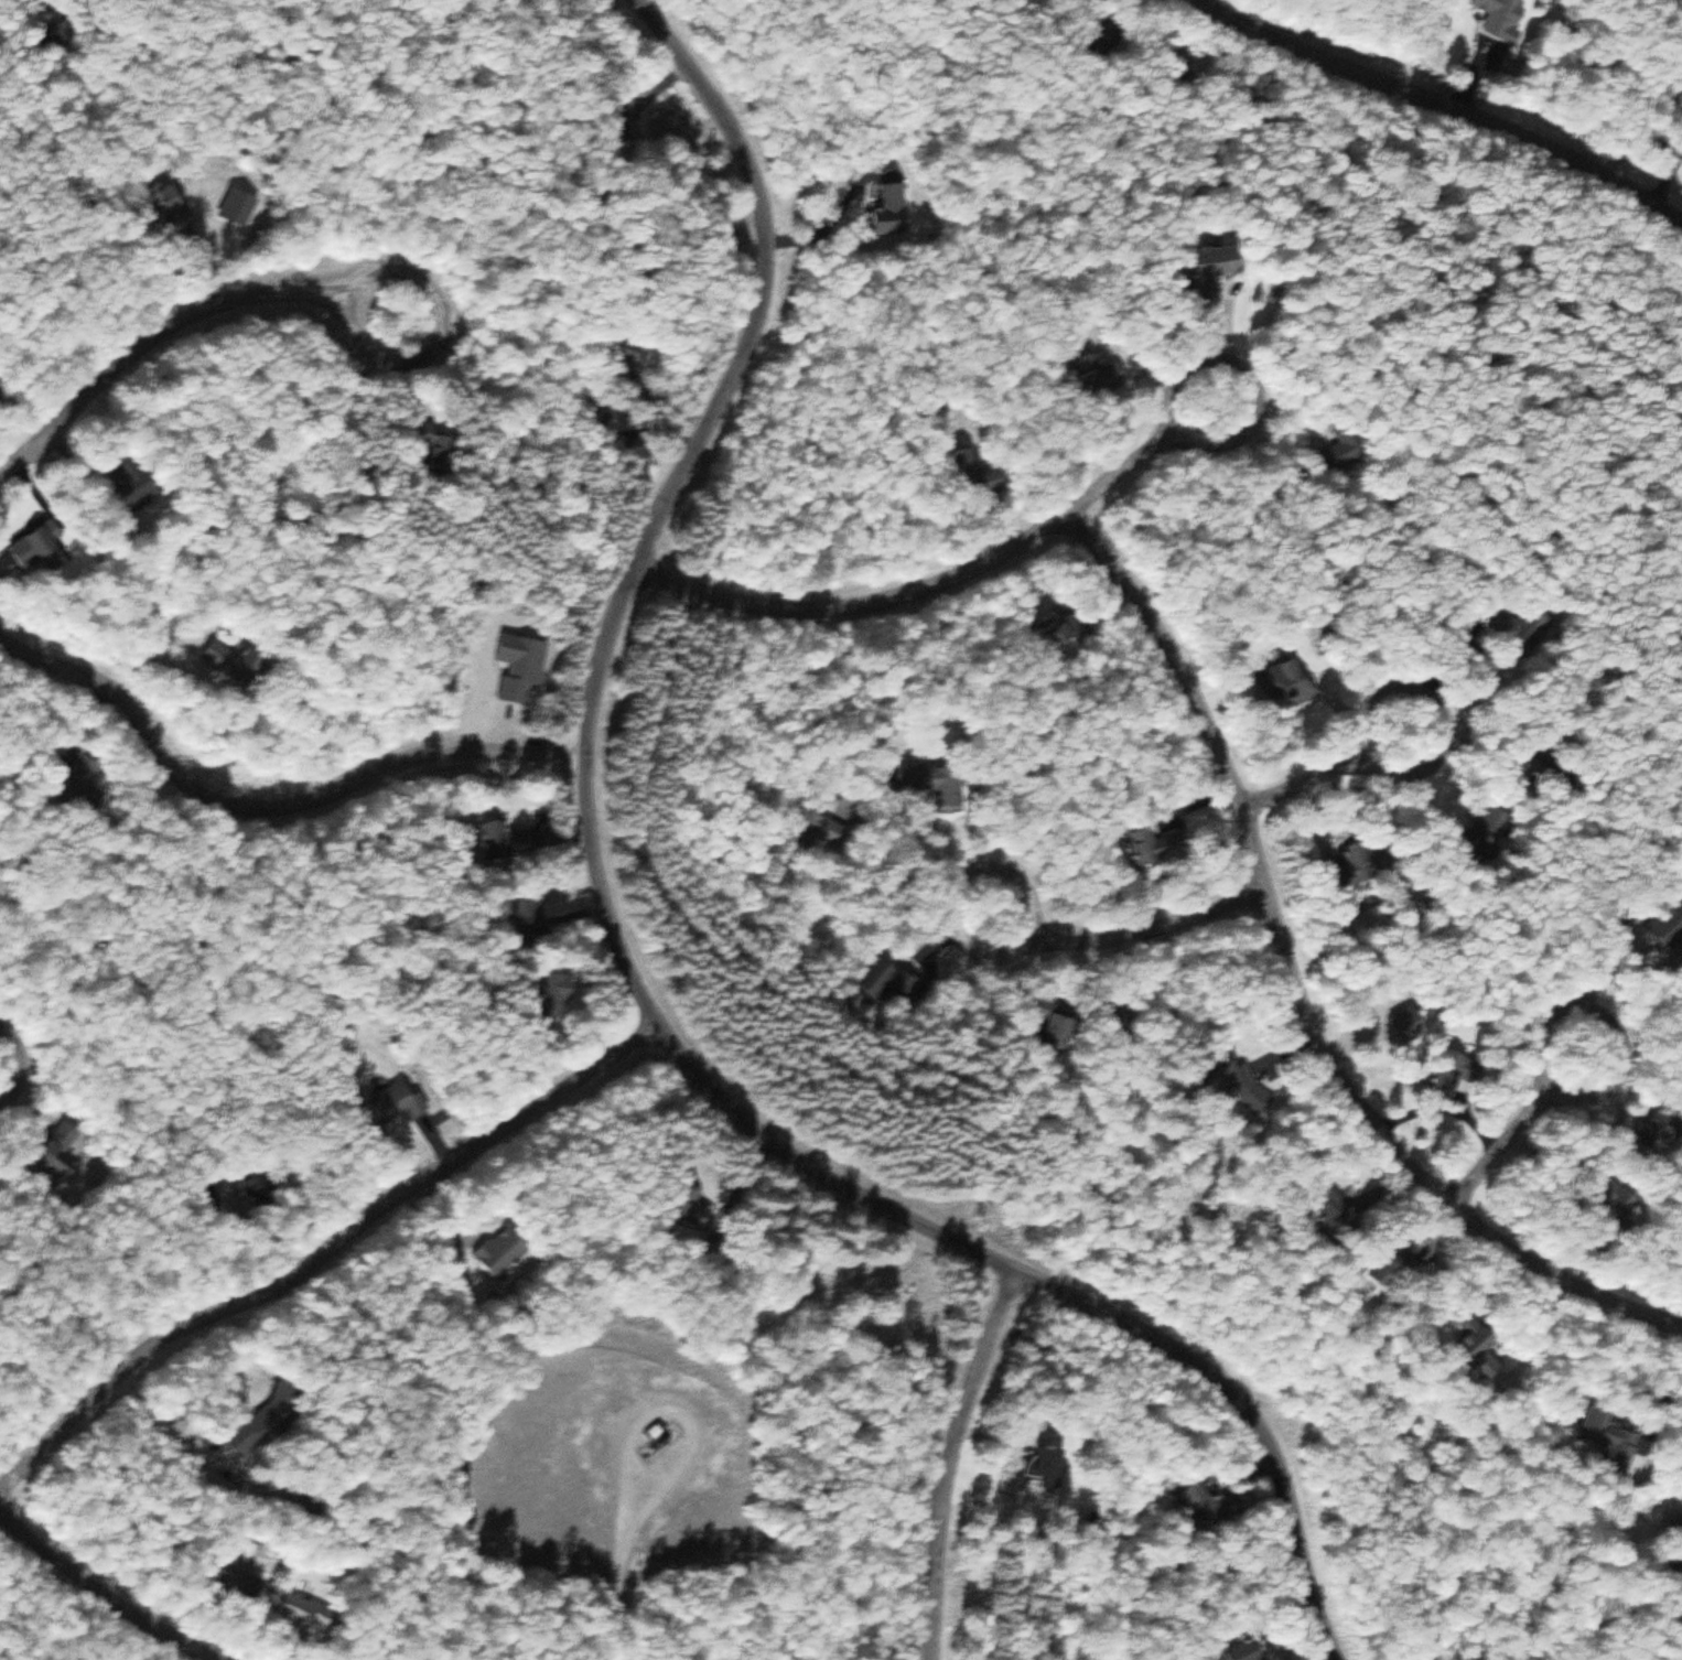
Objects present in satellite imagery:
building: (1503, 18)
road: (1451, 97)
building: (894, 209)
building: (1216, 267)
road: (173, 328)
building: (1100, 375)
building: (3, 397)
road: (1142, 454)
building: (1338, 455)
building: (979, 474)
building: (138, 489)
building: (42, 549)
road: (859, 603)
building: (1059, 629)
building: (240, 662)
building: (525, 667)
building: (1294, 685)
road: (1319, 769)
building: (85, 782)
building: (938, 783)
road: (273, 811)
building: (819, 829)
building: (515, 842)
building: (1149, 847)
building: (1357, 861)
building: (530, 908)
building: (1671, 926)
road: (1132, 940)
road: (653, 955)
building: (903, 982)
road: (1304, 983)
building: (560, 995)
building: (1066, 1026)
building: (1415, 1026)
building: (1238, 1080)
building: (398, 1103)
road: (1512, 1127)
building: (64, 1152)
road: (336, 1248)
building: (505, 1252)
building: (1405, 1265)
building: (1484, 1349)
building: (281, 1412)
petroleum well: (650, 1435)
building: (1616, 1438)
road: (950, 1460)
building: (1053, 1466)
building: (1208, 1505)
road: (614, 1580)
building: (242, 1584)
road: (105, 1592)
building: (306, 1617)
building: (1252, 1651)

